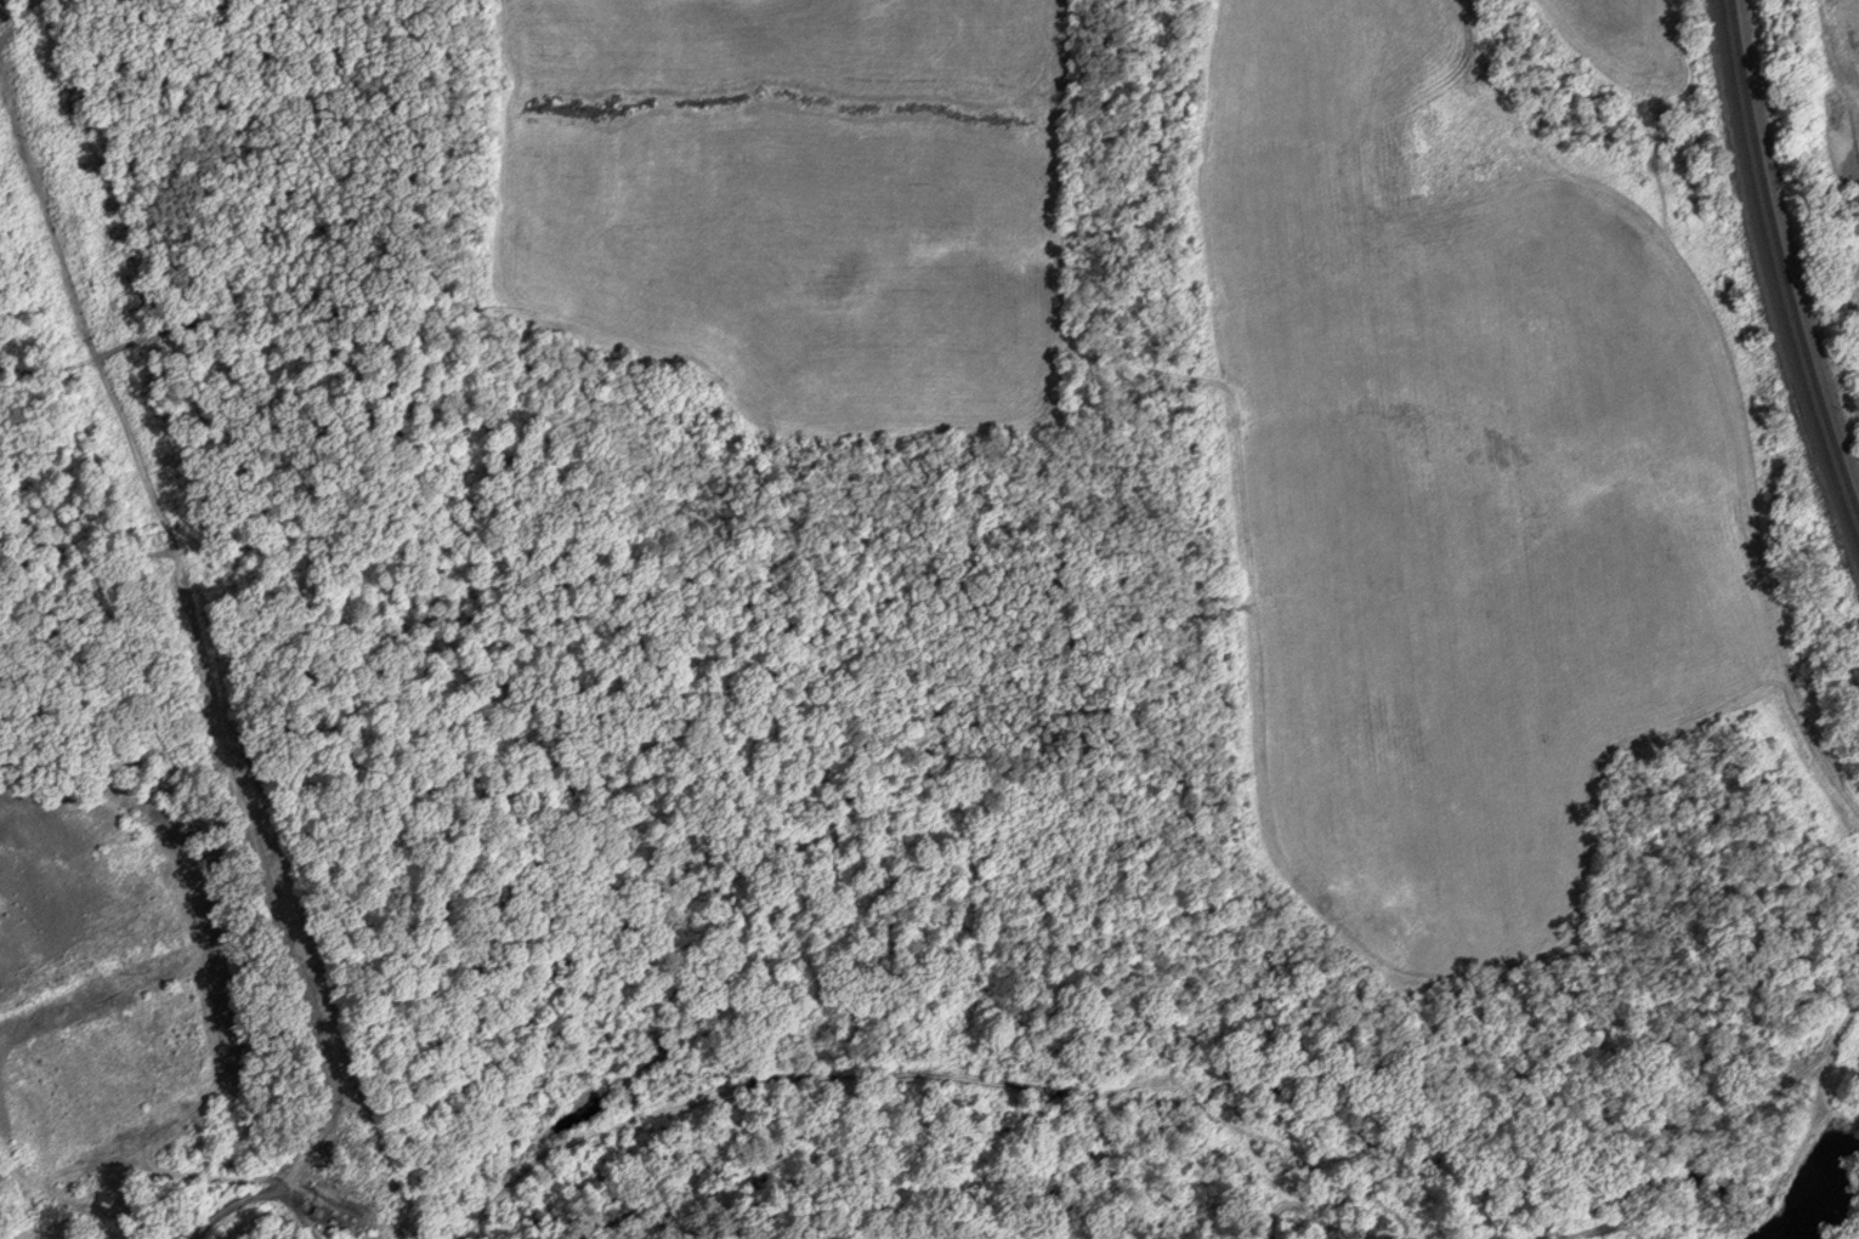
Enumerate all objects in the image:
railway: (1781, 257)
railway: (1774, 275)
road: (215, 664)

